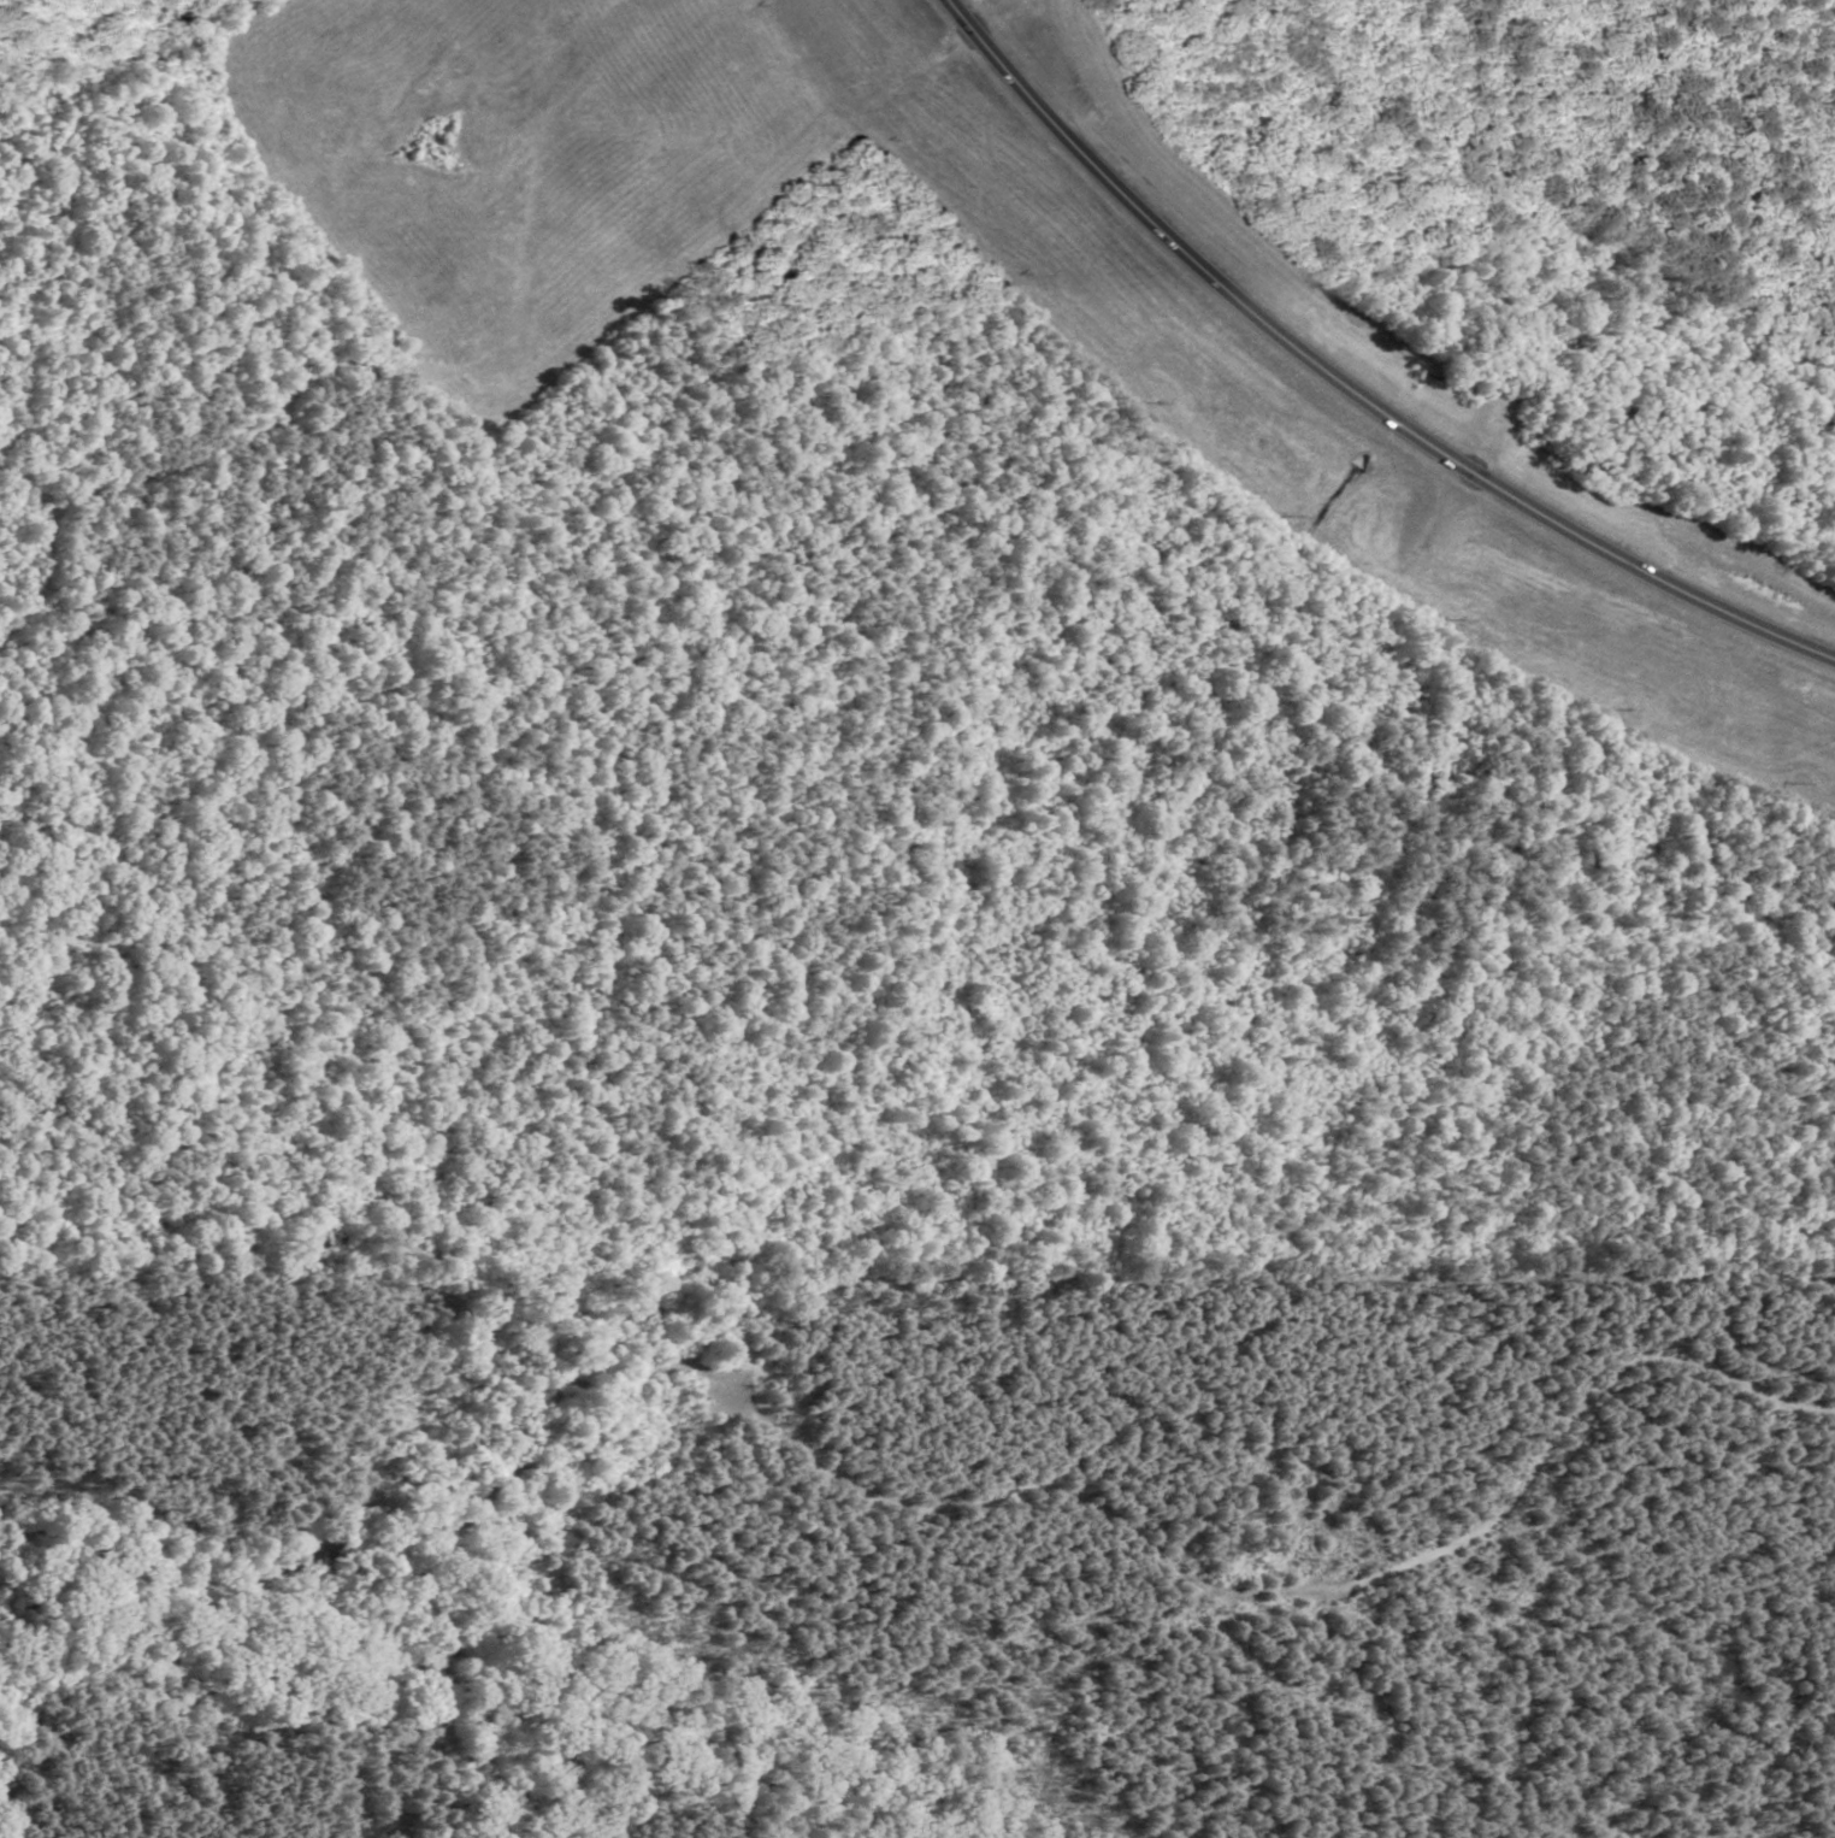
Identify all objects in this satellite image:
road: (1349, 394)

